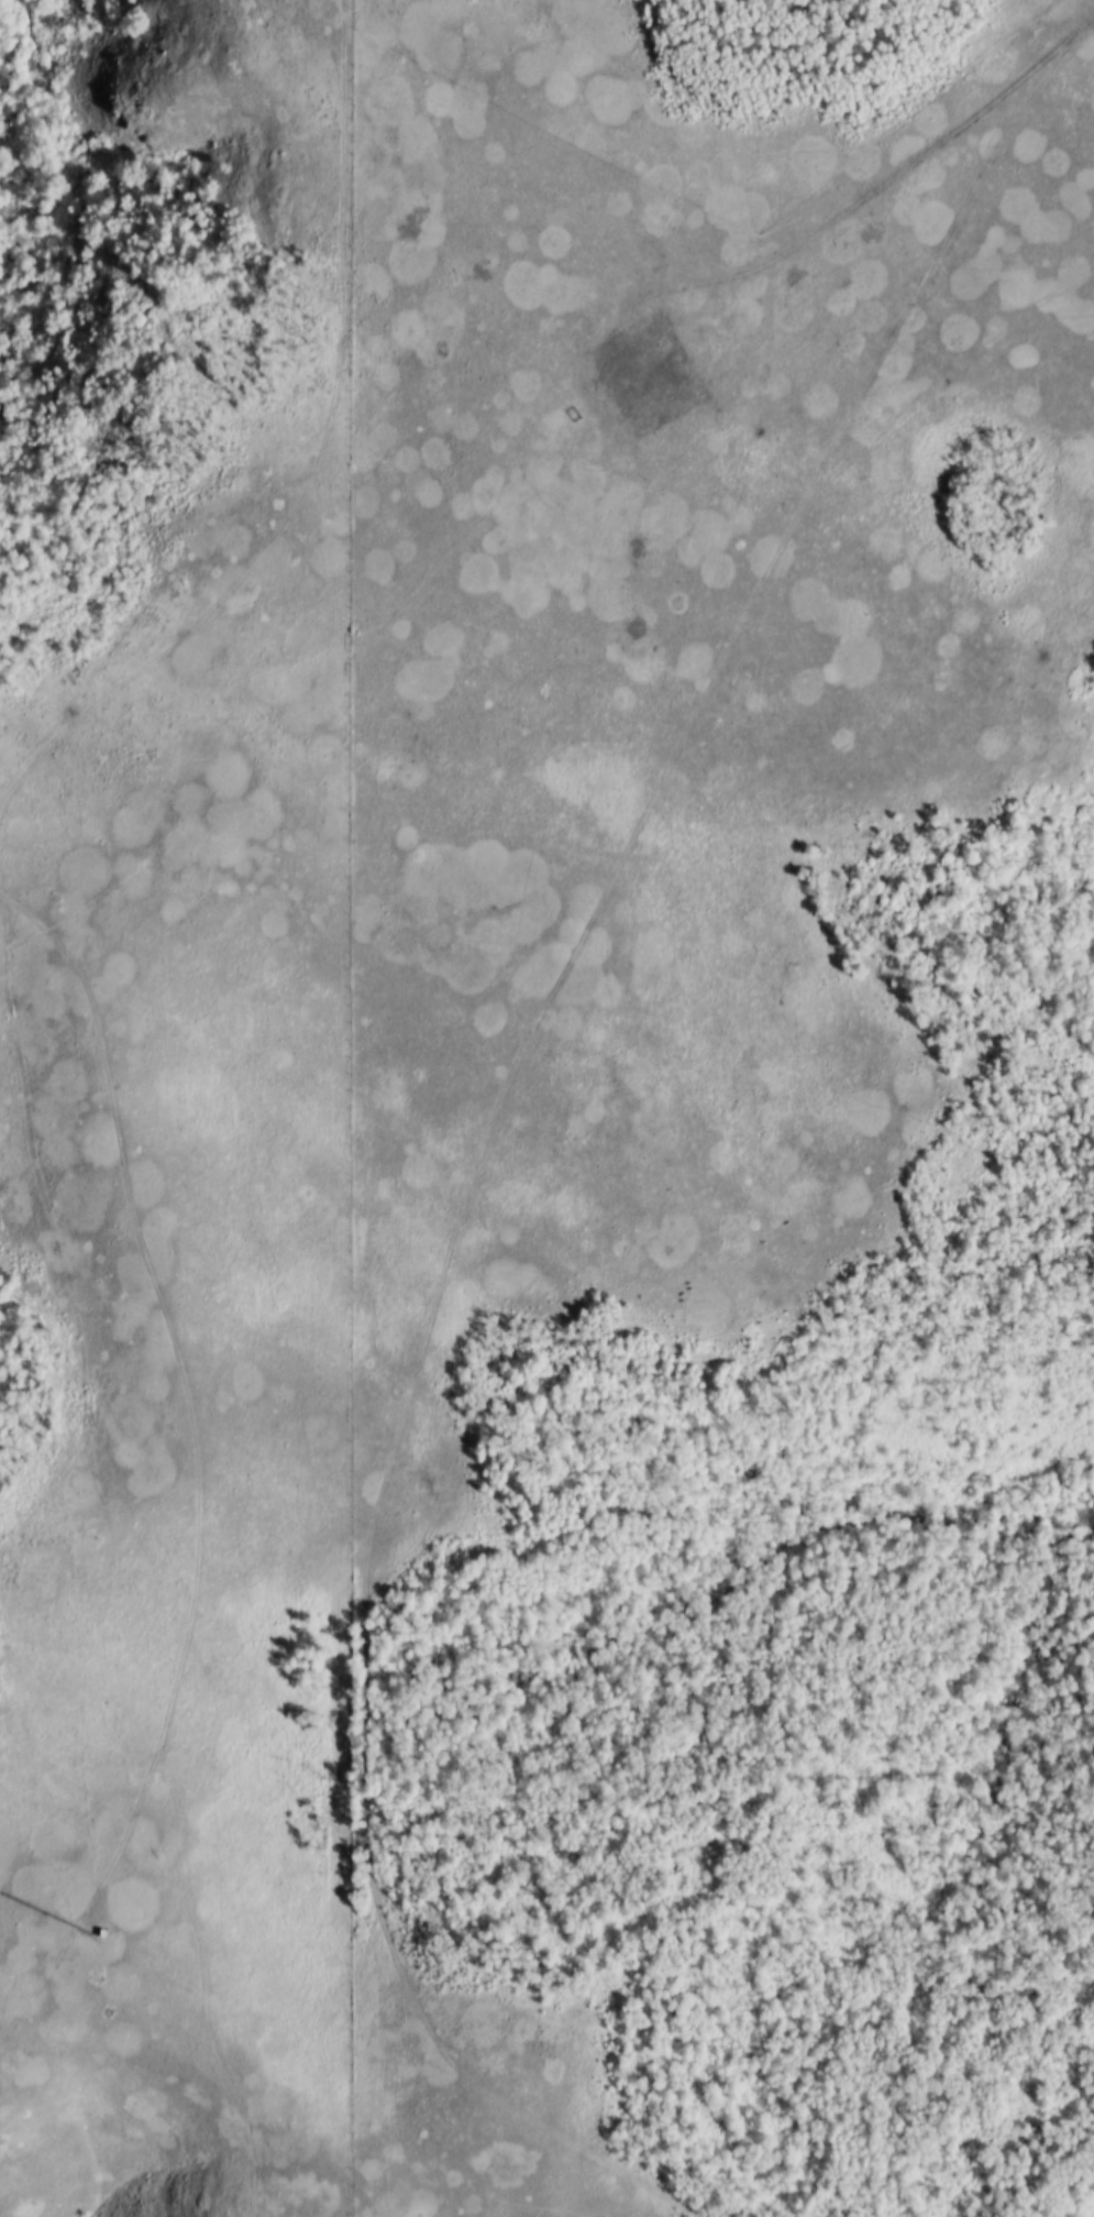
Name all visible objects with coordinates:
road: (874, 191)
building: (610, 353)
storage tank: (607, 359)
building: (597, 375)
building: (619, 383)
building: (651, 397)
building: (639, 420)

